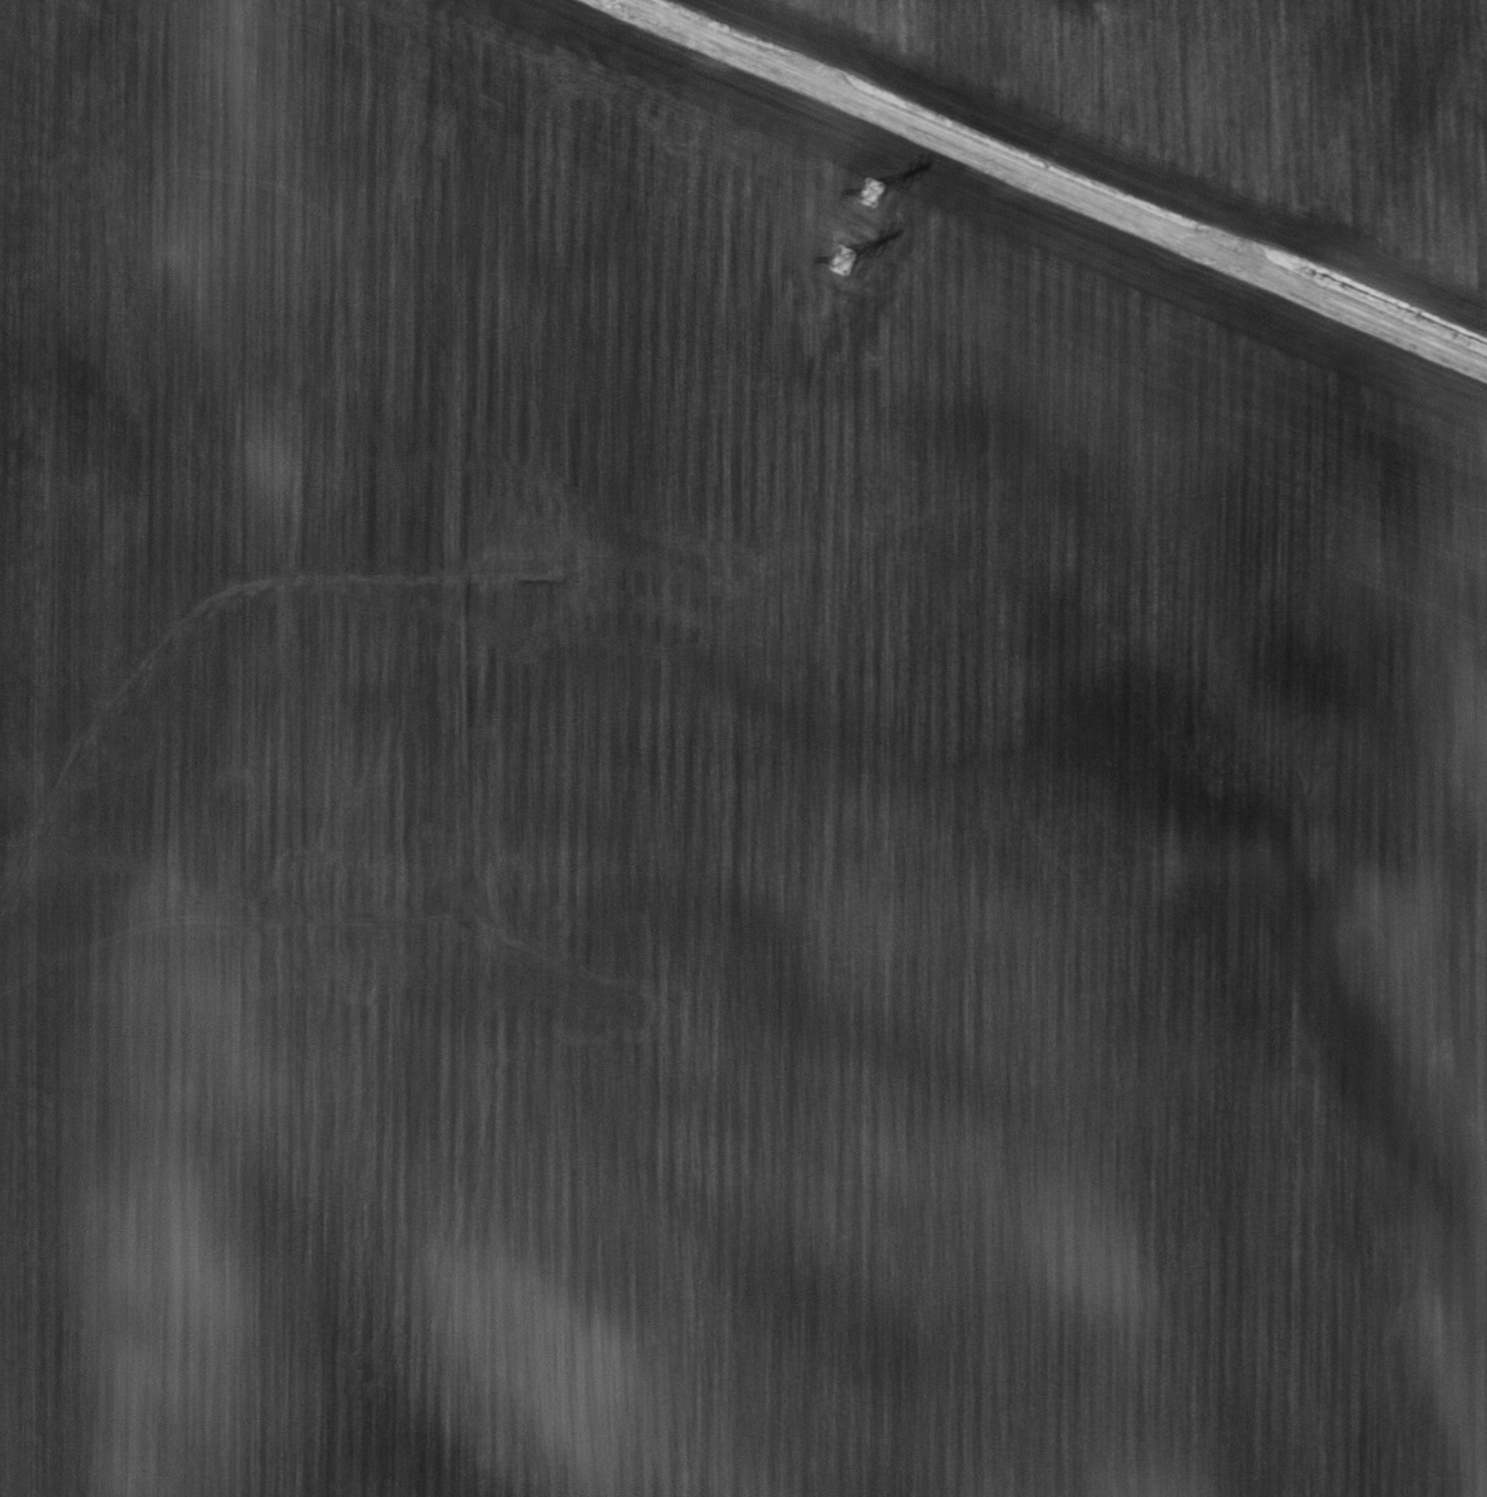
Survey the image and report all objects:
power tower: (869, 183)
power tower: (844, 259)

